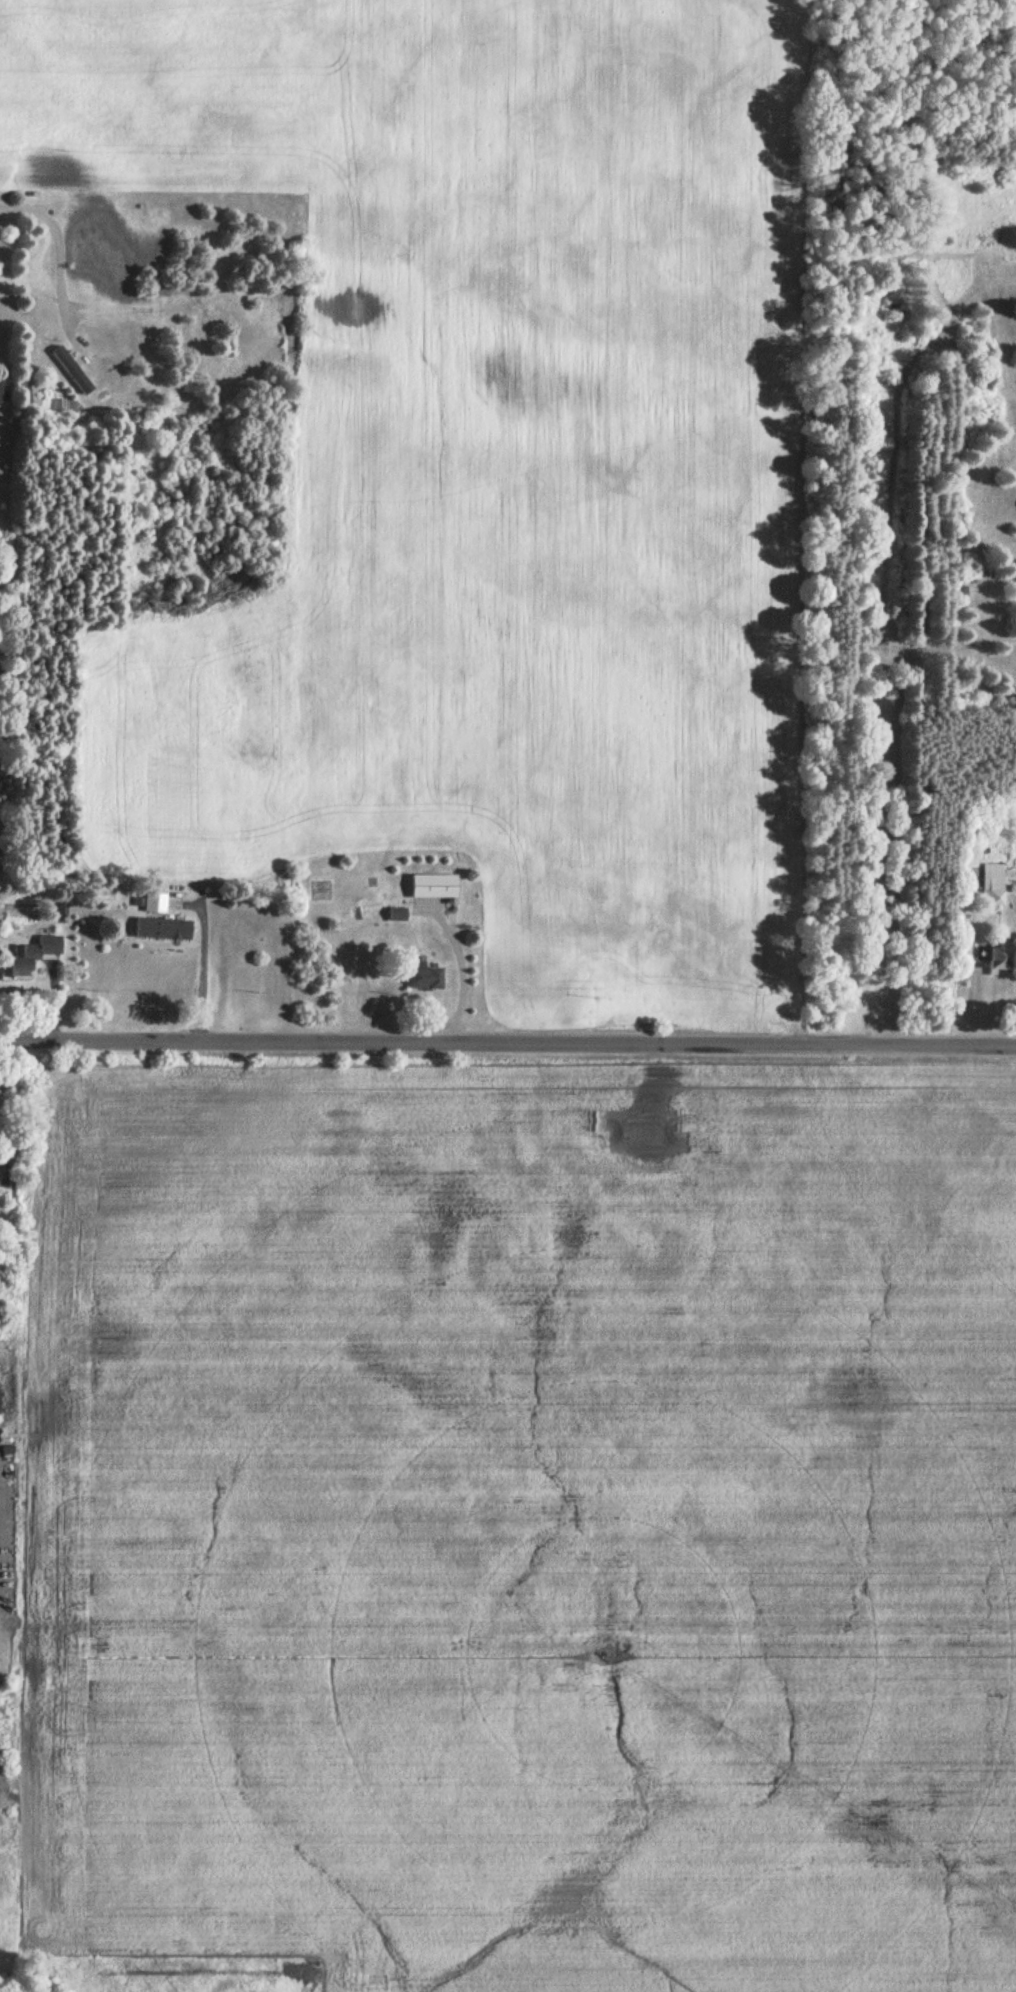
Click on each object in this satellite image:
road: (56, 240)
building: (74, 370)
building: (0, 391)
building: (977, 552)
road: (896, 795)
building: (994, 885)
building: (436, 887)
building: (156, 903)
building: (164, 930)
building: (30, 957)
building: (1002, 960)
road: (453, 974)
building: (427, 979)
road: (508, 1043)

